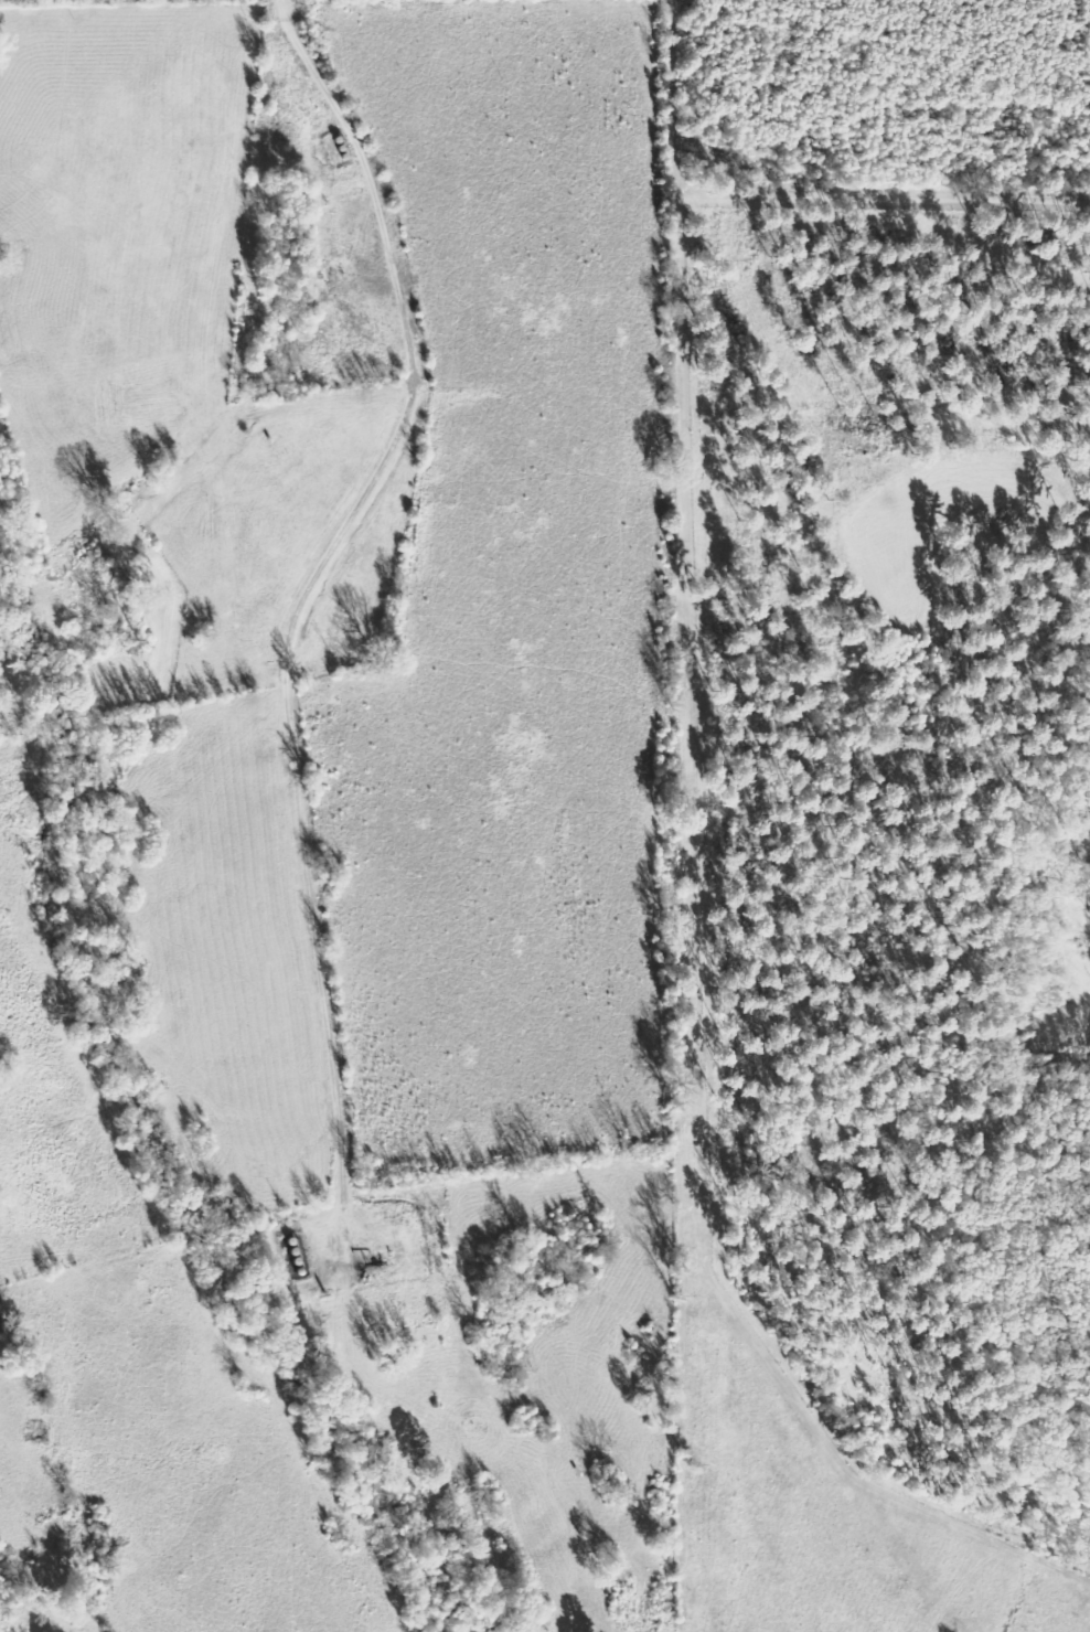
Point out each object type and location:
road: (803, 186)

